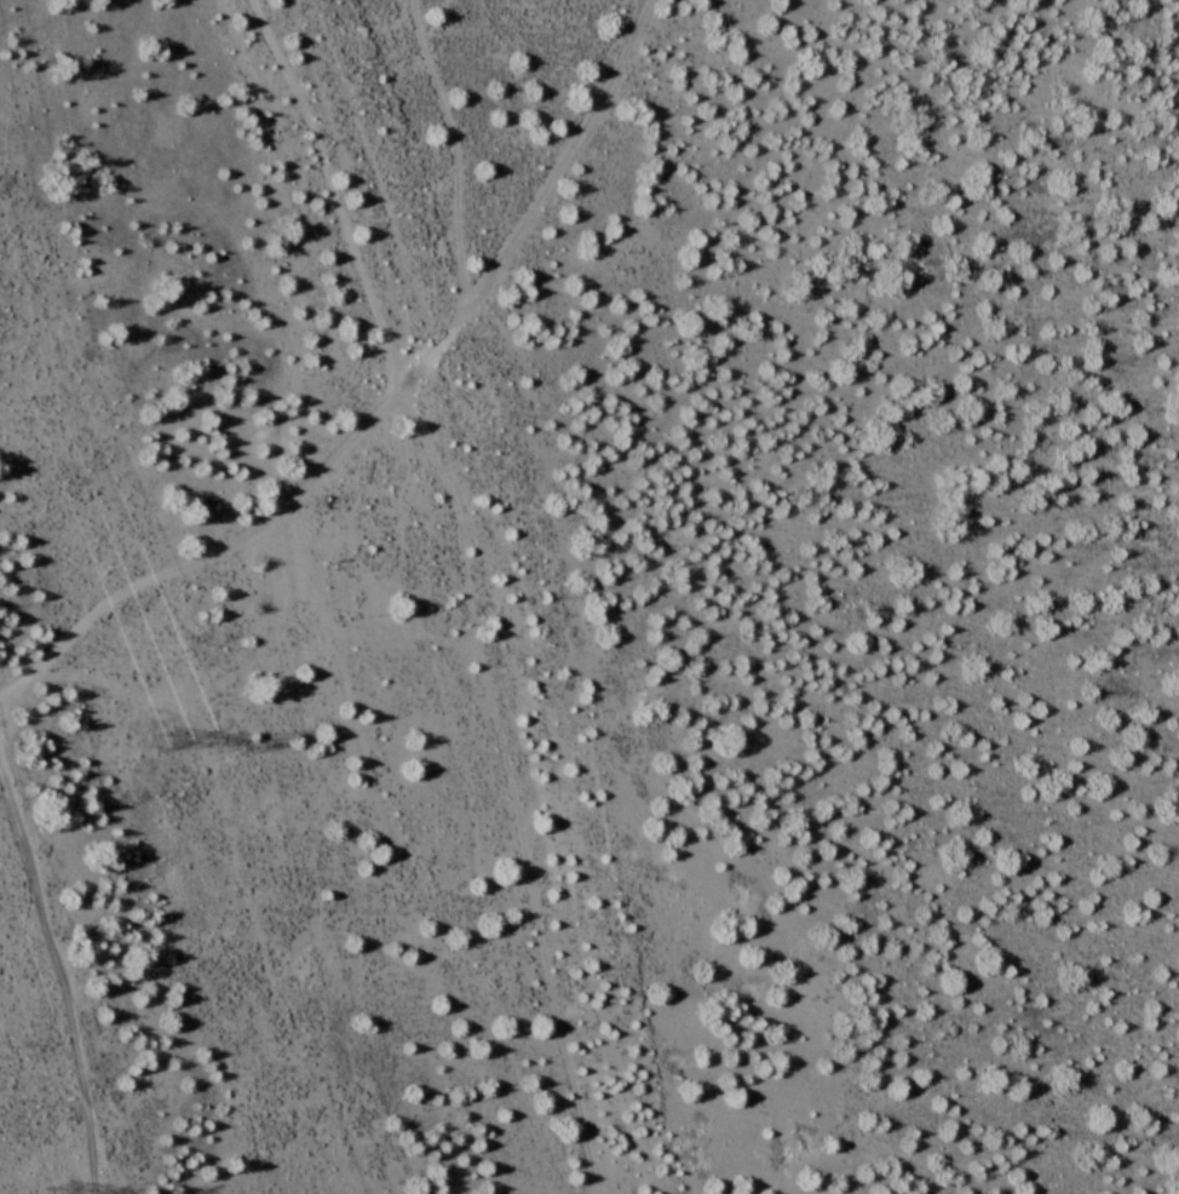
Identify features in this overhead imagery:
power tower: (190, 742)
road: (64, 992)

